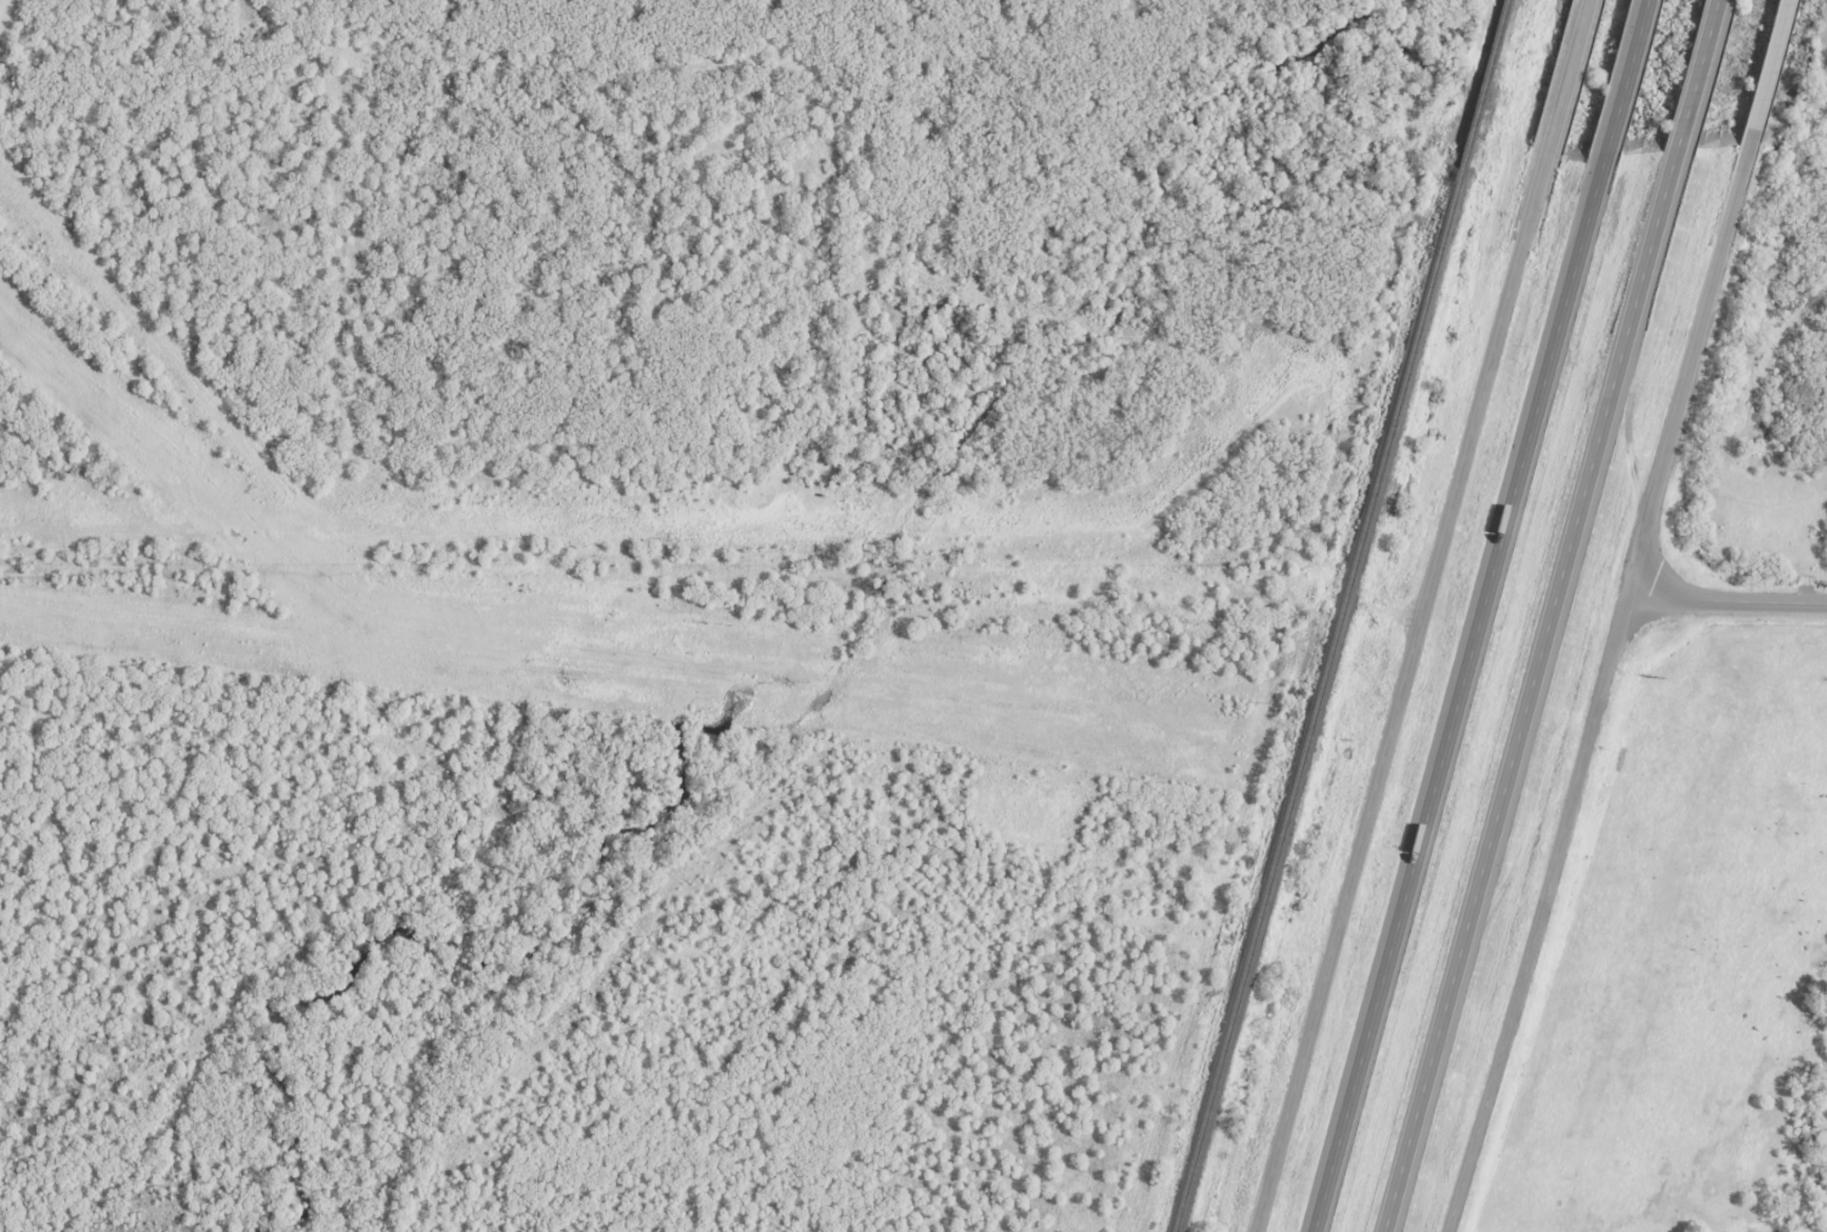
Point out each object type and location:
road: (1, 7)
road: (1766, 72)
road: (1696, 74)
road: (1567, 76)
railway: (1479, 84)
road: (1726, 600)
road: (1479, 616)
road: (1529, 689)
road: (1600, 689)
road: (1400, 692)
railway: (1313, 700)

